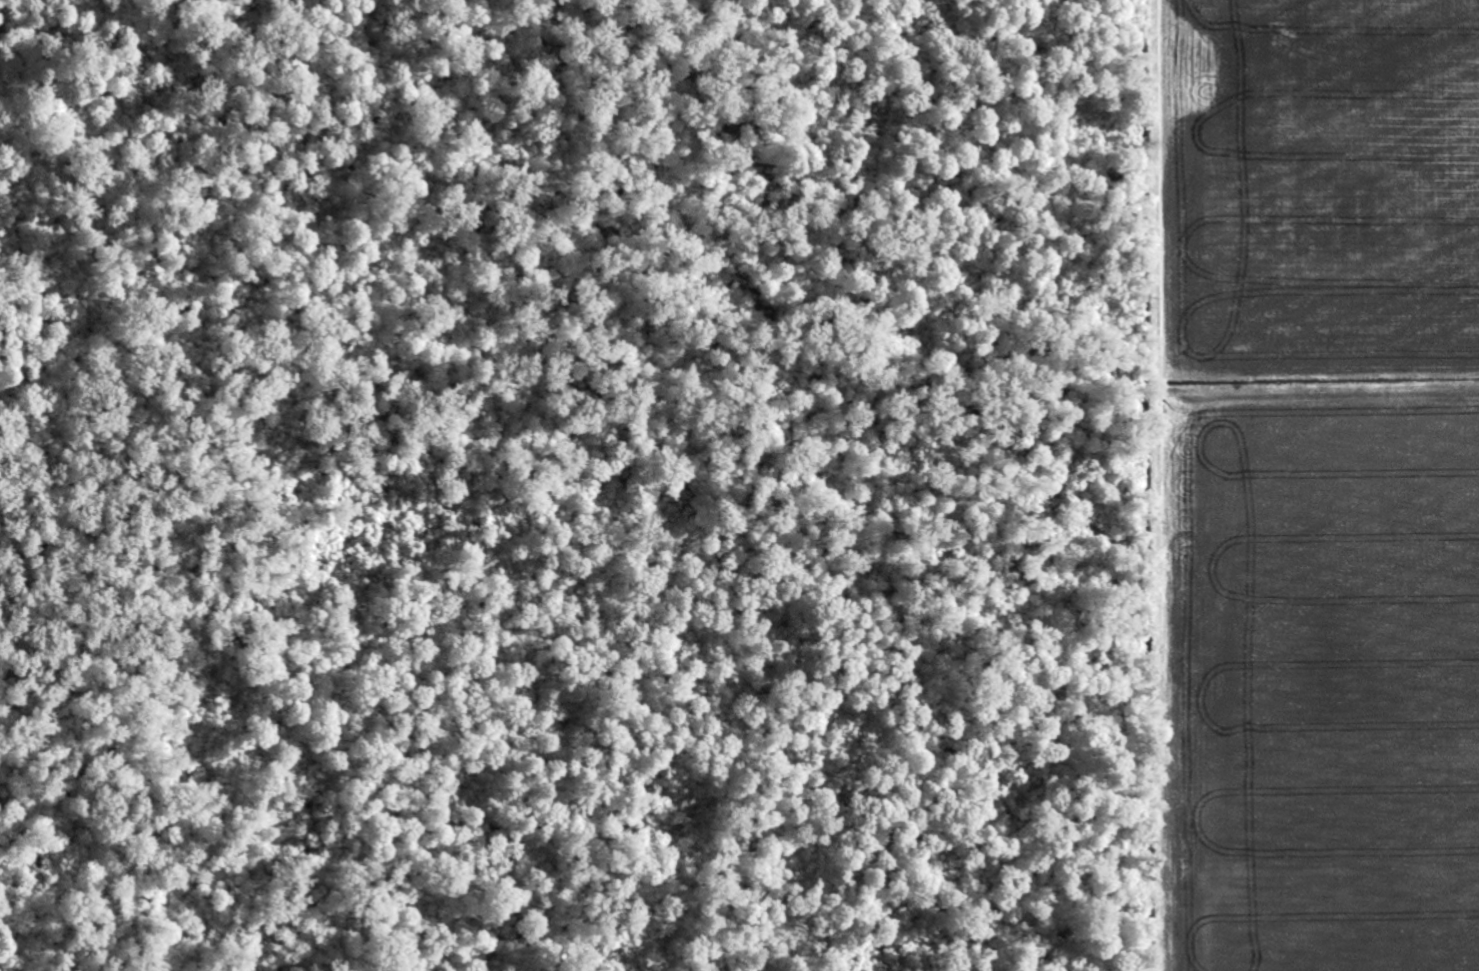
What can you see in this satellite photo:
park: (566, 485)

